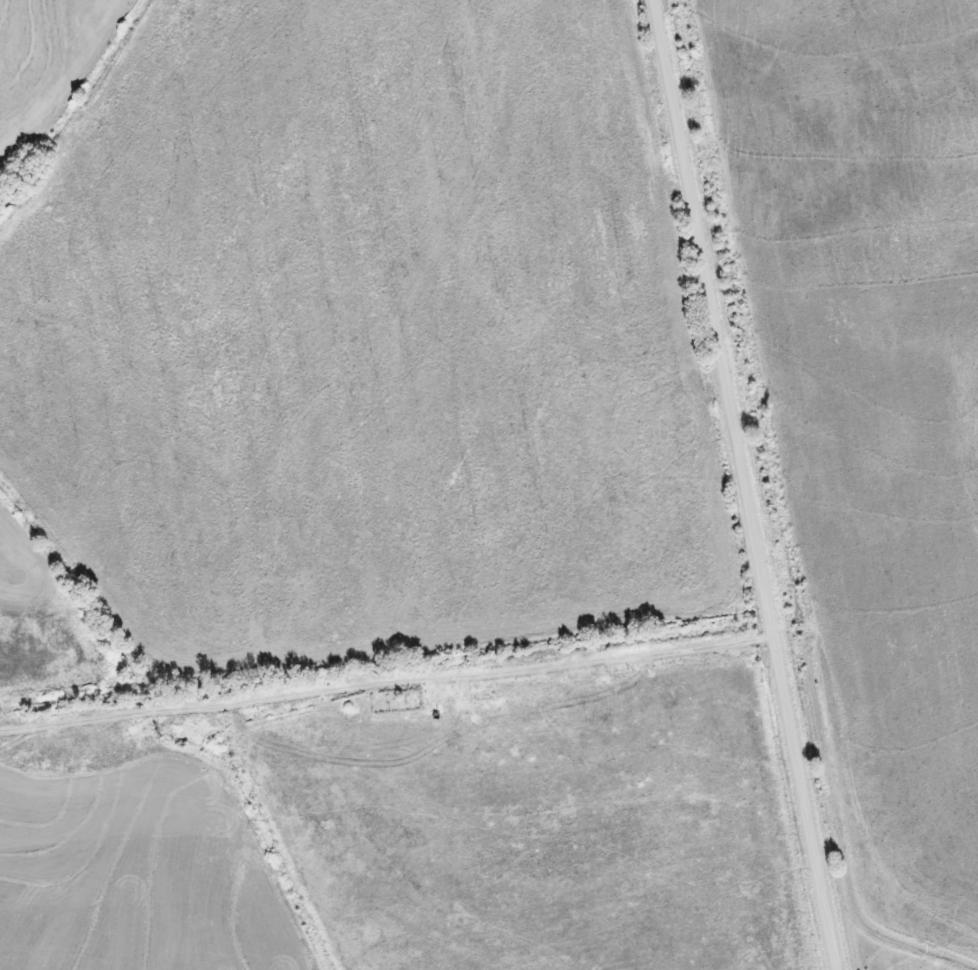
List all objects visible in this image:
road: (749, 485)
road: (388, 682)

